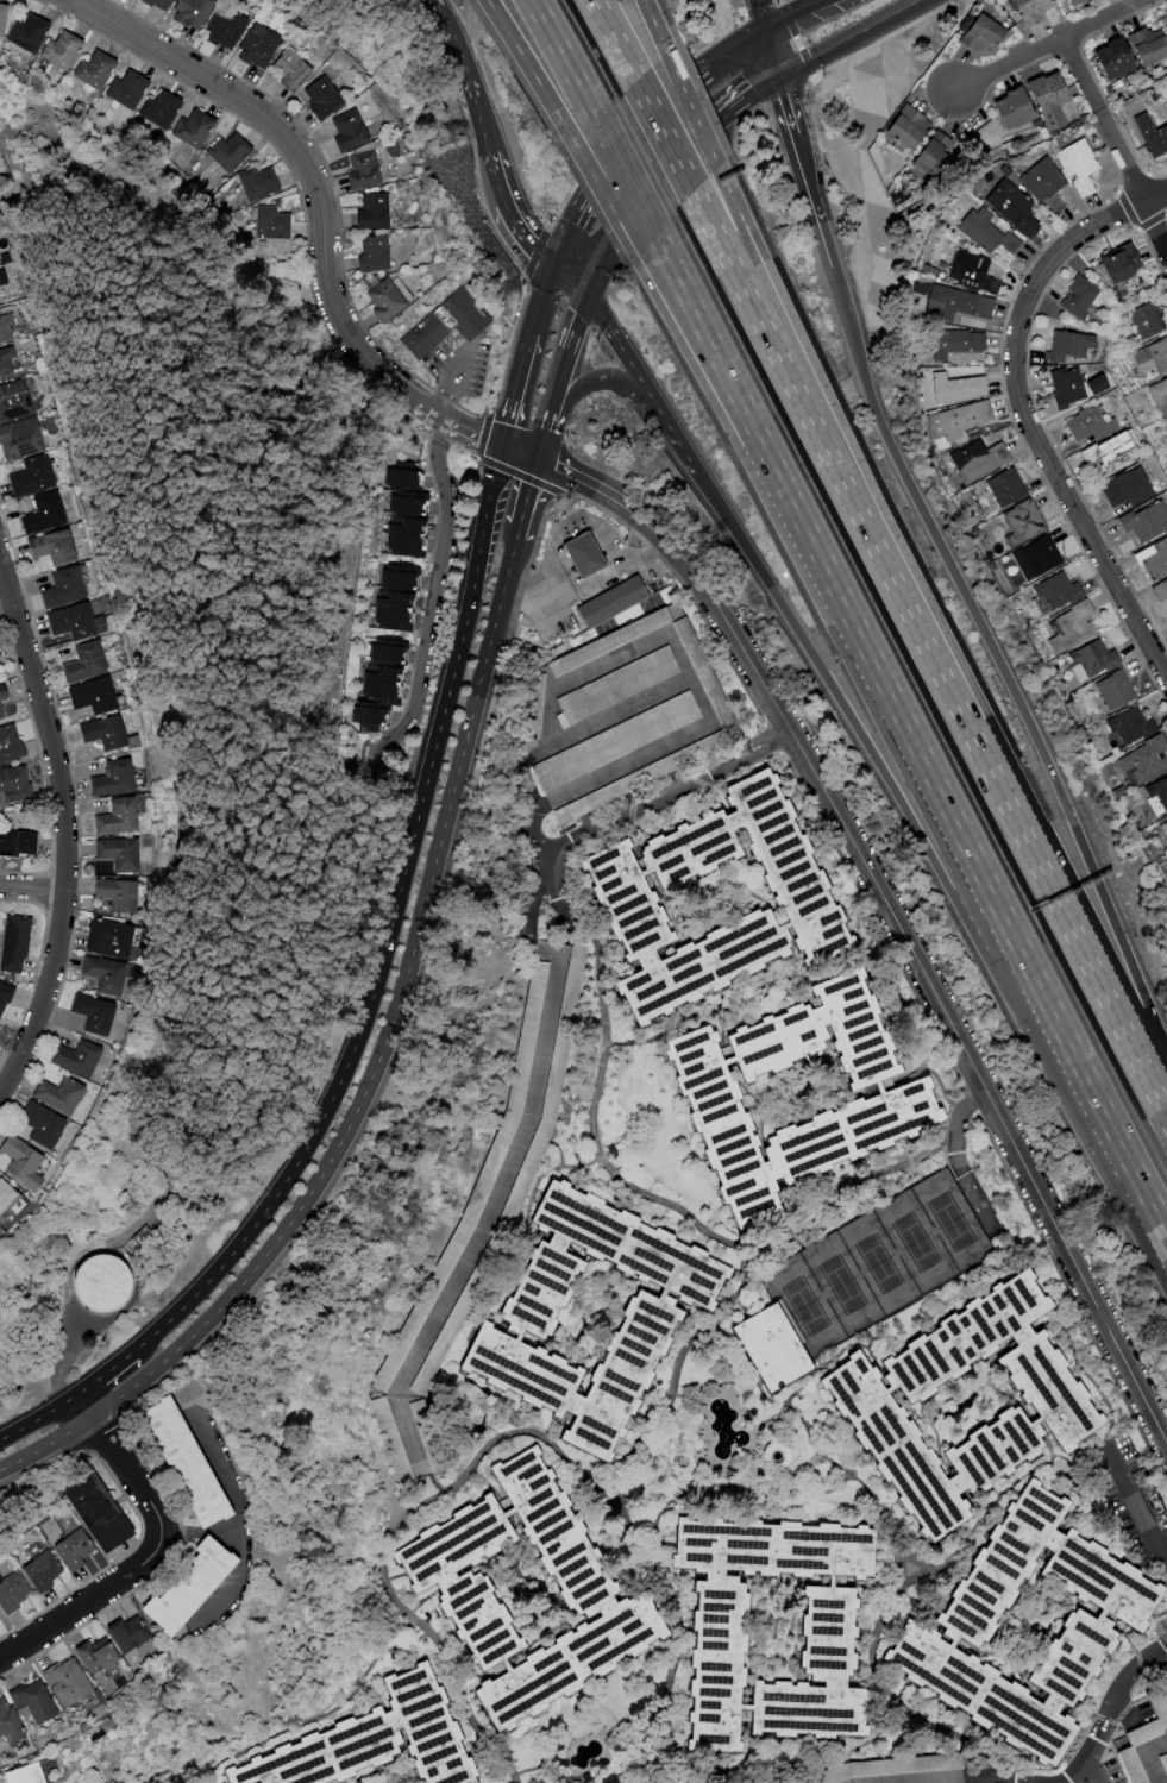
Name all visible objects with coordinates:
building: (171, 2)
building: (1075, 2)
building: (157, 4)
road: (786, 10)
building: (1030, 10)
building: (206, 12)
road: (758, 12)
building: (8, 18)
road: (653, 25)
building: (237, 29)
building: (38, 32)
building: (981, 34)
road: (453, 37)
road: (846, 38)
road: (614, 39)
road: (730, 42)
building: (1147, 45)
building: (271, 46)
road: (1049, 46)
building: (70, 49)
road: (768, 51)
building: (1113, 58)
road: (565, 61)
building: (101, 69)
building: (290, 69)
building: (305, 69)
road: (533, 75)
traffic signals: (776, 79)
building: (132, 90)
building: (1047, 93)
building: (338, 96)
building: (321, 98)
road: (784, 106)
road: (690, 108)
building: (1014, 108)
building: (167, 111)
road: (479, 115)
building: (908, 127)
building: (199, 130)
building: (347, 130)
building: (364, 130)
road: (664, 134)
building: (1150, 134)
road: (1116, 146)
building: (236, 152)
building: (931, 156)
building: (891, 163)
building: (1078, 165)
building: (376, 169)
road: (665, 174)
road: (803, 174)
road: (626, 178)
building: (262, 182)
road: (589, 182)
building: (1044, 183)
road: (1154, 194)
road: (320, 201)
road: (608, 205)
building: (1011, 207)
building: (384, 211)
road: (512, 212)
building: (270, 222)
building: (986, 232)
building: (383, 252)
building: (1, 258)
building: (1121, 263)
building: (972, 272)
building: (8, 280)
road: (569, 280)
building: (395, 297)
building: (1078, 297)
building: (956, 302)
building: (1147, 320)
building: (445, 322)
building: (13, 326)
building: (954, 343)
building: (1066, 346)
building: (1152, 357)
building: (14, 362)
road: (802, 366)
road: (559, 376)
road: (601, 377)
road: (638, 378)
road: (788, 378)
road: (450, 382)
building: (1066, 387)
road: (512, 388)
building: (956, 388)
building: (1159, 391)
building: (23, 401)
building: (958, 419)
building: (1090, 423)
road: (1028, 427)
road: (755, 432)
building: (33, 439)
road: (747, 444)
traffic signals: (498, 446)
road: (516, 451)
building: (1108, 454)
traffic signals: (535, 457)
building: (977, 460)
building: (48, 477)
building: (407, 477)
building: (1005, 488)
building: (1127, 488)
road: (526, 490)
building: (413, 504)
building: (42, 513)
building: (59, 514)
building: (1022, 522)
building: (1146, 522)
building: (413, 526)
road: (516, 529)
building: (410, 544)
building: (69, 547)
building: (582, 554)
building: (1036, 557)
building: (1153, 558)
building: (402, 579)
road: (594, 582)
road: (703, 586)
building: (62, 588)
building: (79, 589)
building: (1160, 590)
building: (1056, 591)
road: (10, 599)
building: (400, 599)
building: (609, 601)
building: (399, 617)
building: (88, 622)
building: (1071, 627)
road: (426, 629)
road: (985, 638)
building: (606, 641)
building: (2, 654)
building: (389, 654)
building: (83, 661)
building: (1092, 661)
building: (101, 664)
building: (699, 673)
building: (388, 674)
building: (616, 685)
building: (1113, 690)
building: (387, 692)
building: (92, 695)
building: (111, 696)
building: (6, 702)
building: (1130, 724)
building: (102, 732)
building: (121, 734)
building: (614, 741)
building: (15, 746)
road: (735, 756)
building: (1144, 760)
building: (1106, 770)
road: (595, 777)
building: (112, 778)
building: (635, 778)
building: (131, 779)
building: (19, 784)
building: (1118, 791)
building: (1157, 795)
road: (638, 811)
building: (115, 816)
building: (136, 818)
road: (73, 820)
building: (1165, 823)
road: (917, 834)
building: (23, 843)
road: (1025, 843)
building: (118, 853)
building: (136, 854)
road: (37, 887)
building: (115, 894)
building: (133, 894)
building: (622, 896)
road: (1004, 918)
building: (0, 922)
road: (387, 933)
building: (125, 940)
building: (24, 946)
building: (102, 974)
building: (120, 977)
building: (8, 999)
building: (108, 1016)
building: (0, 1027)
building: (0, 1046)
building: (92, 1060)
road: (371, 1072)
building: (71, 1095)
building: (893, 1097)
road: (995, 1104)
building: (54, 1126)
building: (33, 1163)
road: (495, 1182)
building: (13, 1201)
road: (802, 1211)
road: (1159, 1220)
building: (2, 1229)
water tower: (99, 1281)
building: (100, 1282)
building: (644, 1320)
building: (765, 1345)
building: (390, 1360)
road: (102, 1373)
building: (860, 1404)
road: (38, 1417)
building: (389, 1439)
building: (171, 1457)
road: (1137, 1505)
road: (228, 1506)
building: (84, 1513)
road: (383, 1536)
building: (67, 1549)
road: (142, 1550)
building: (33, 1572)
road: (225, 1577)
building: (584, 1586)
building: (174, 1587)
building: (10, 1591)
building: (960, 1621)
building: (115, 1634)
building: (717, 1641)
building: (84, 1657)
building: (61, 1682)
building: (29, 1701)
road: (1105, 1707)
building: (1157, 1707)
building: (6, 1726)
building: (1141, 1733)
building: (366, 1741)
road: (1147, 1757)
building: (1163, 1763)
building: (1128, 1765)
building: (892, 1770)
building: (19, 1775)

